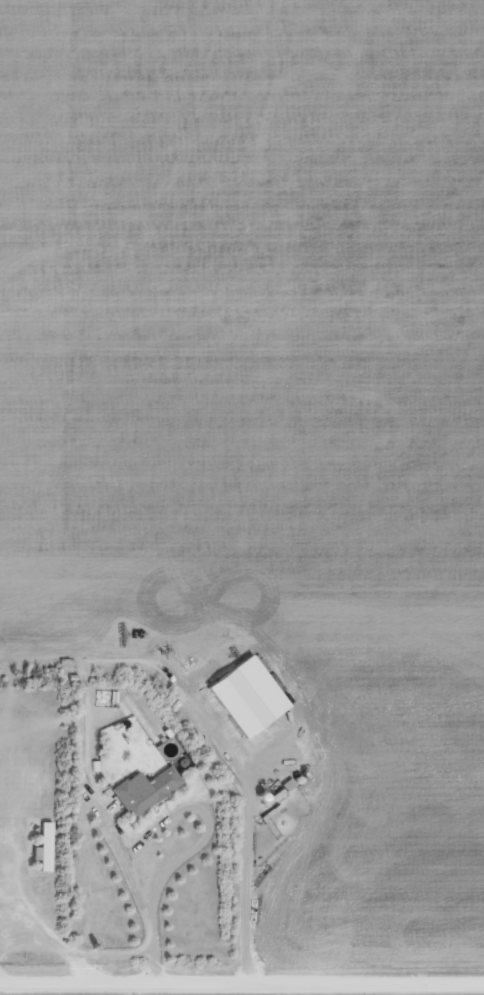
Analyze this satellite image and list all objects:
building: (144, 792)
building: (42, 848)
road: (242, 977)

